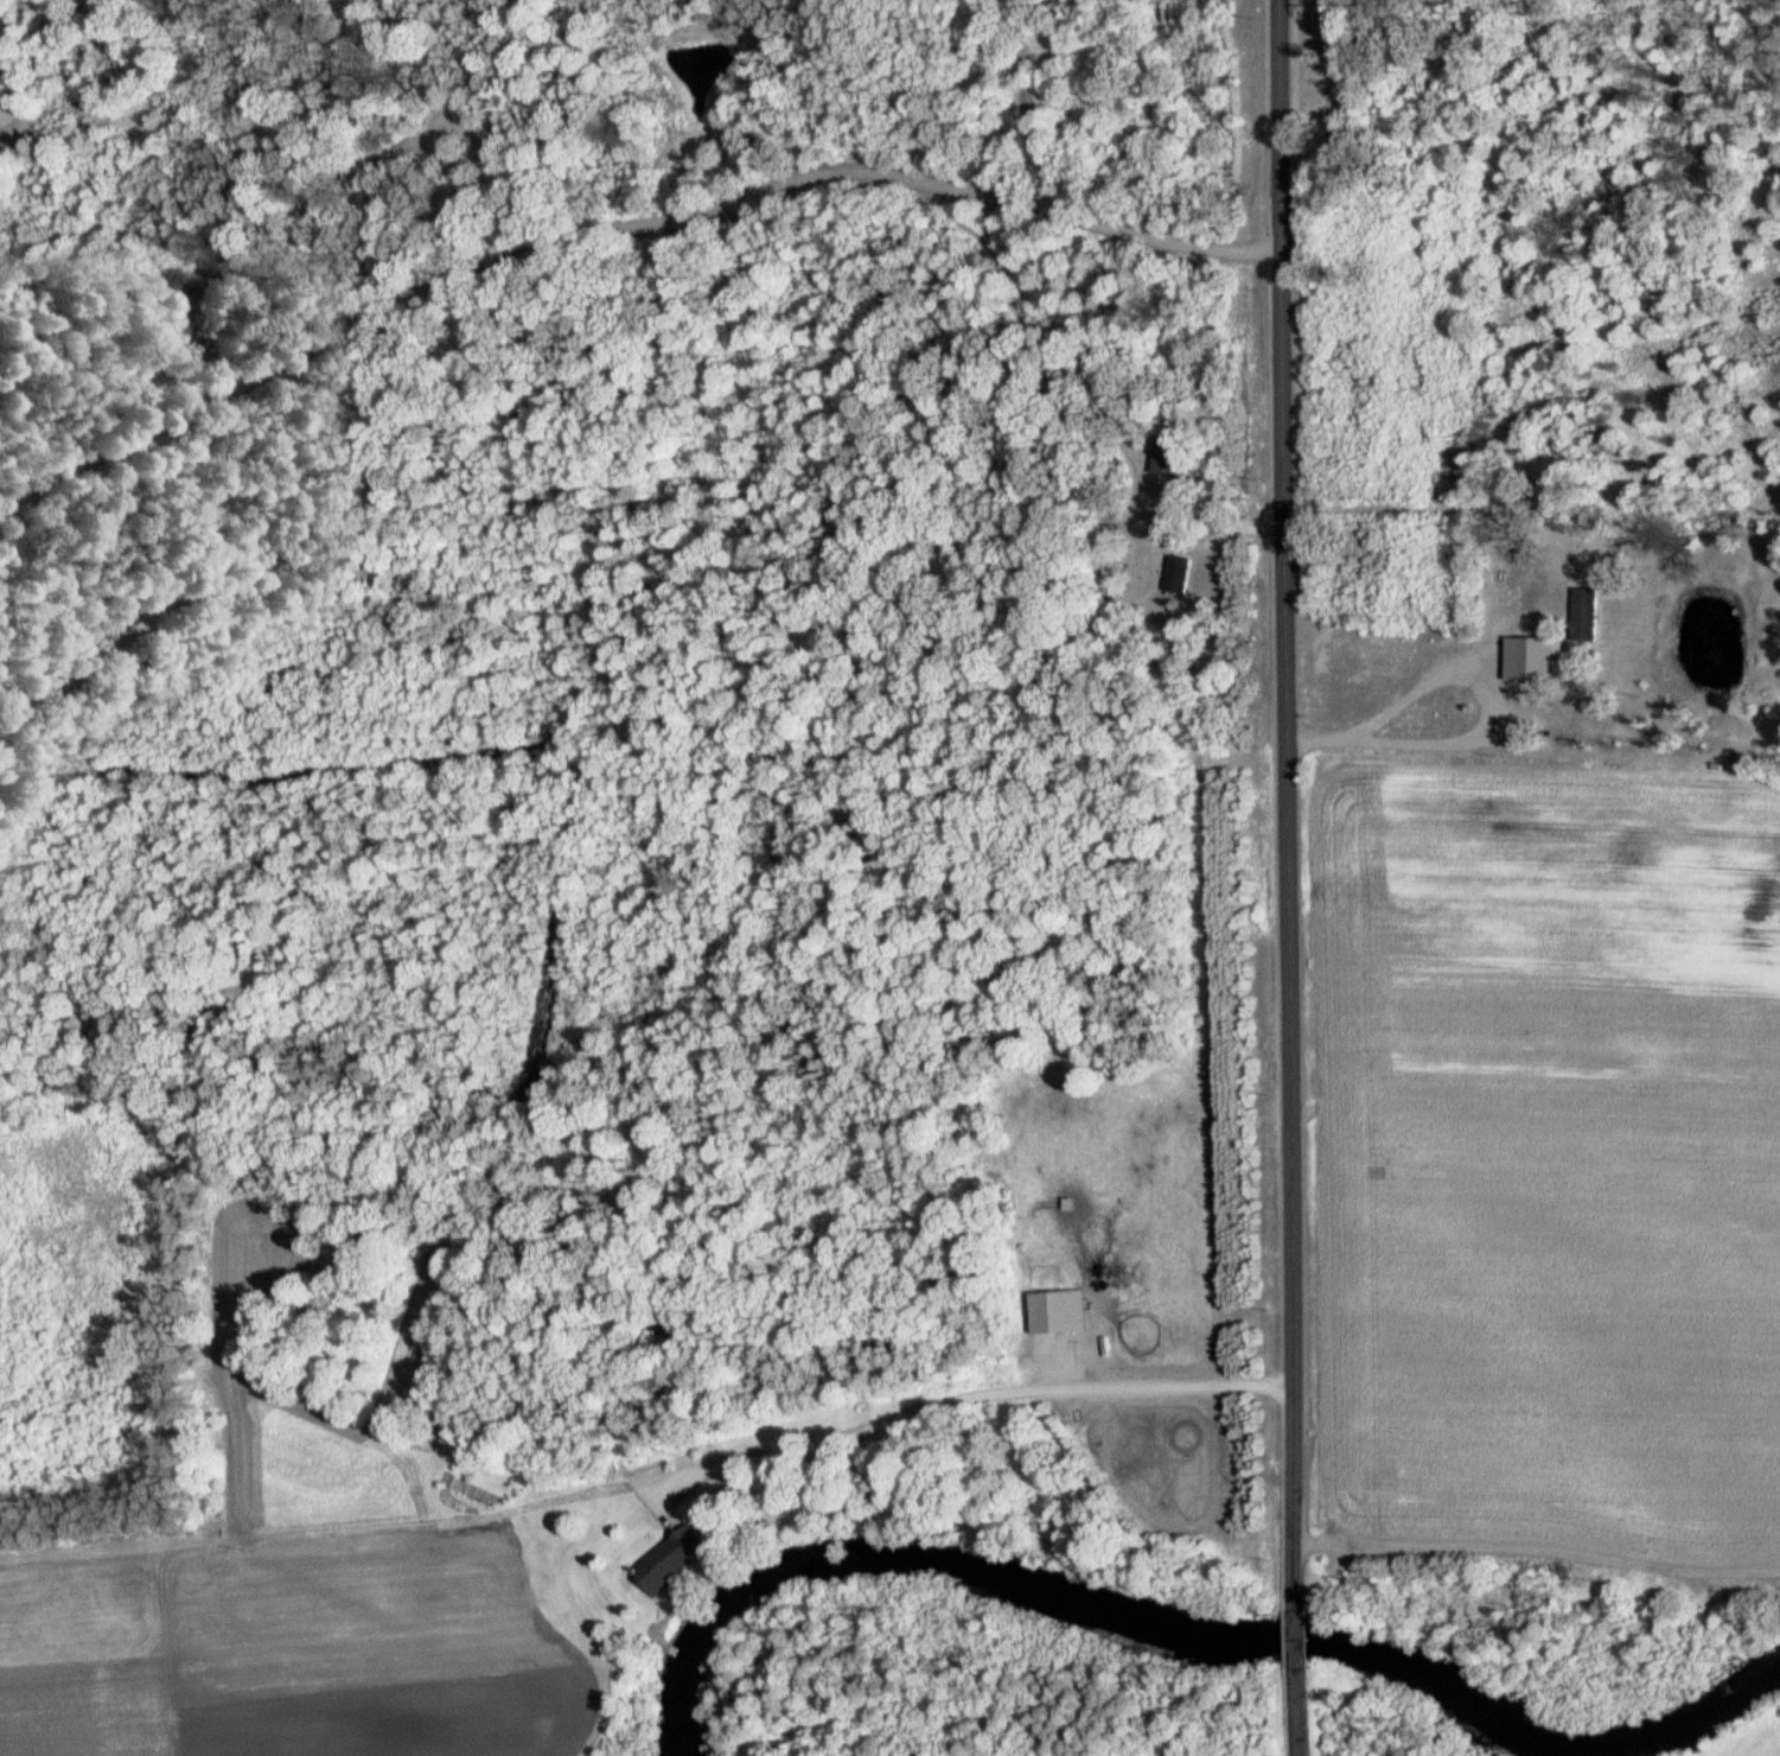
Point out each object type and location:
building: (1168, 456)
building: (1180, 572)
building: (1588, 612)
building: (1535, 657)
road: (1290, 804)
road: (961, 1394)
road: (677, 1521)
road: (1539, 1550)
building: (681, 1555)
river: (1181, 1640)
road: (1301, 1640)
road: (1302, 1712)

